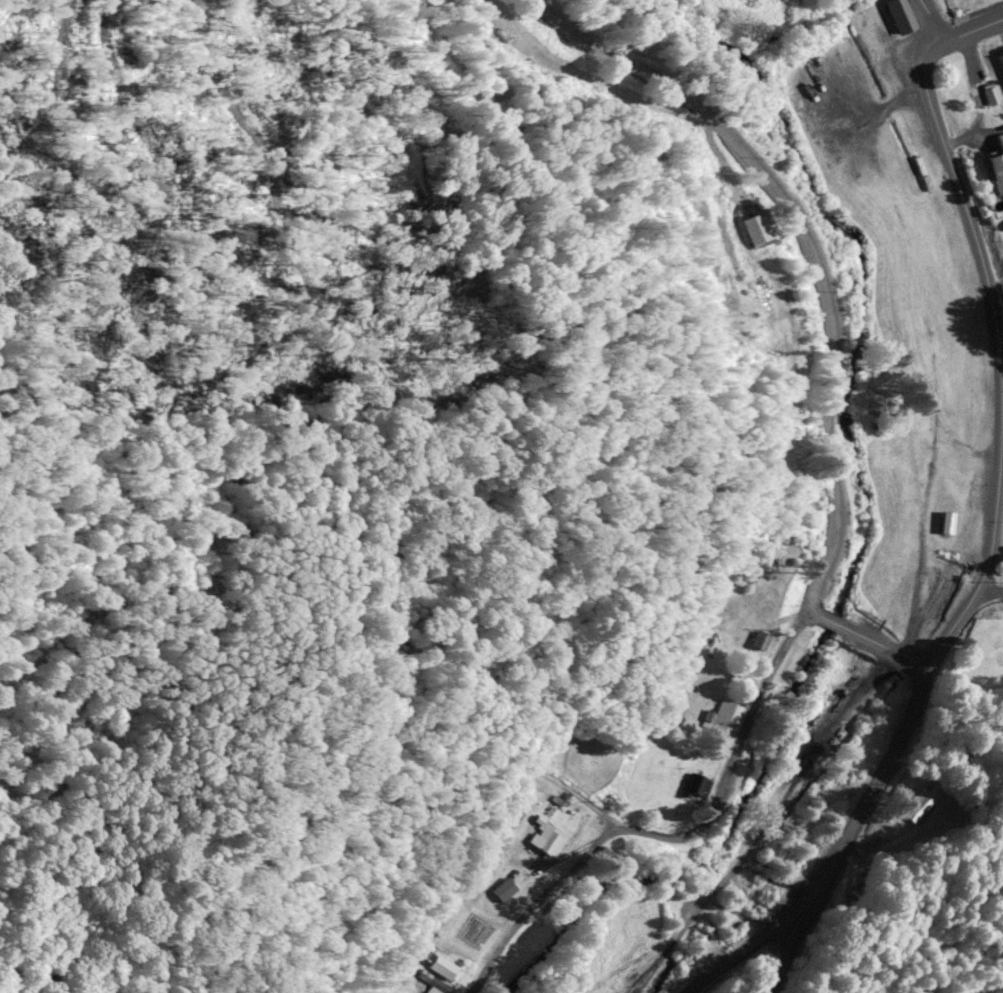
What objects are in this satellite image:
railway: (855, 5)
building: (894, 15)
road: (929, 22)
road: (965, 30)
building: (1001, 57)
building: (990, 94)
building: (995, 164)
road: (808, 247)
railway: (823, 272)
railway: (977, 329)
road: (1001, 357)
railway: (707, 491)
road: (999, 500)
building: (945, 520)
road: (991, 586)
road: (812, 610)
road: (835, 621)
road: (890, 646)
road: (852, 698)
building: (725, 715)
building: (694, 782)
road: (578, 787)
building: (923, 801)
railway: (767, 822)
railway: (799, 822)
road: (849, 828)
building: (544, 834)
road: (668, 834)
road: (562, 853)
building: (802, 863)
road: (379, 865)
building: (502, 887)
road: (743, 947)
building: (444, 964)
road: (63, 973)
building: (433, 978)

